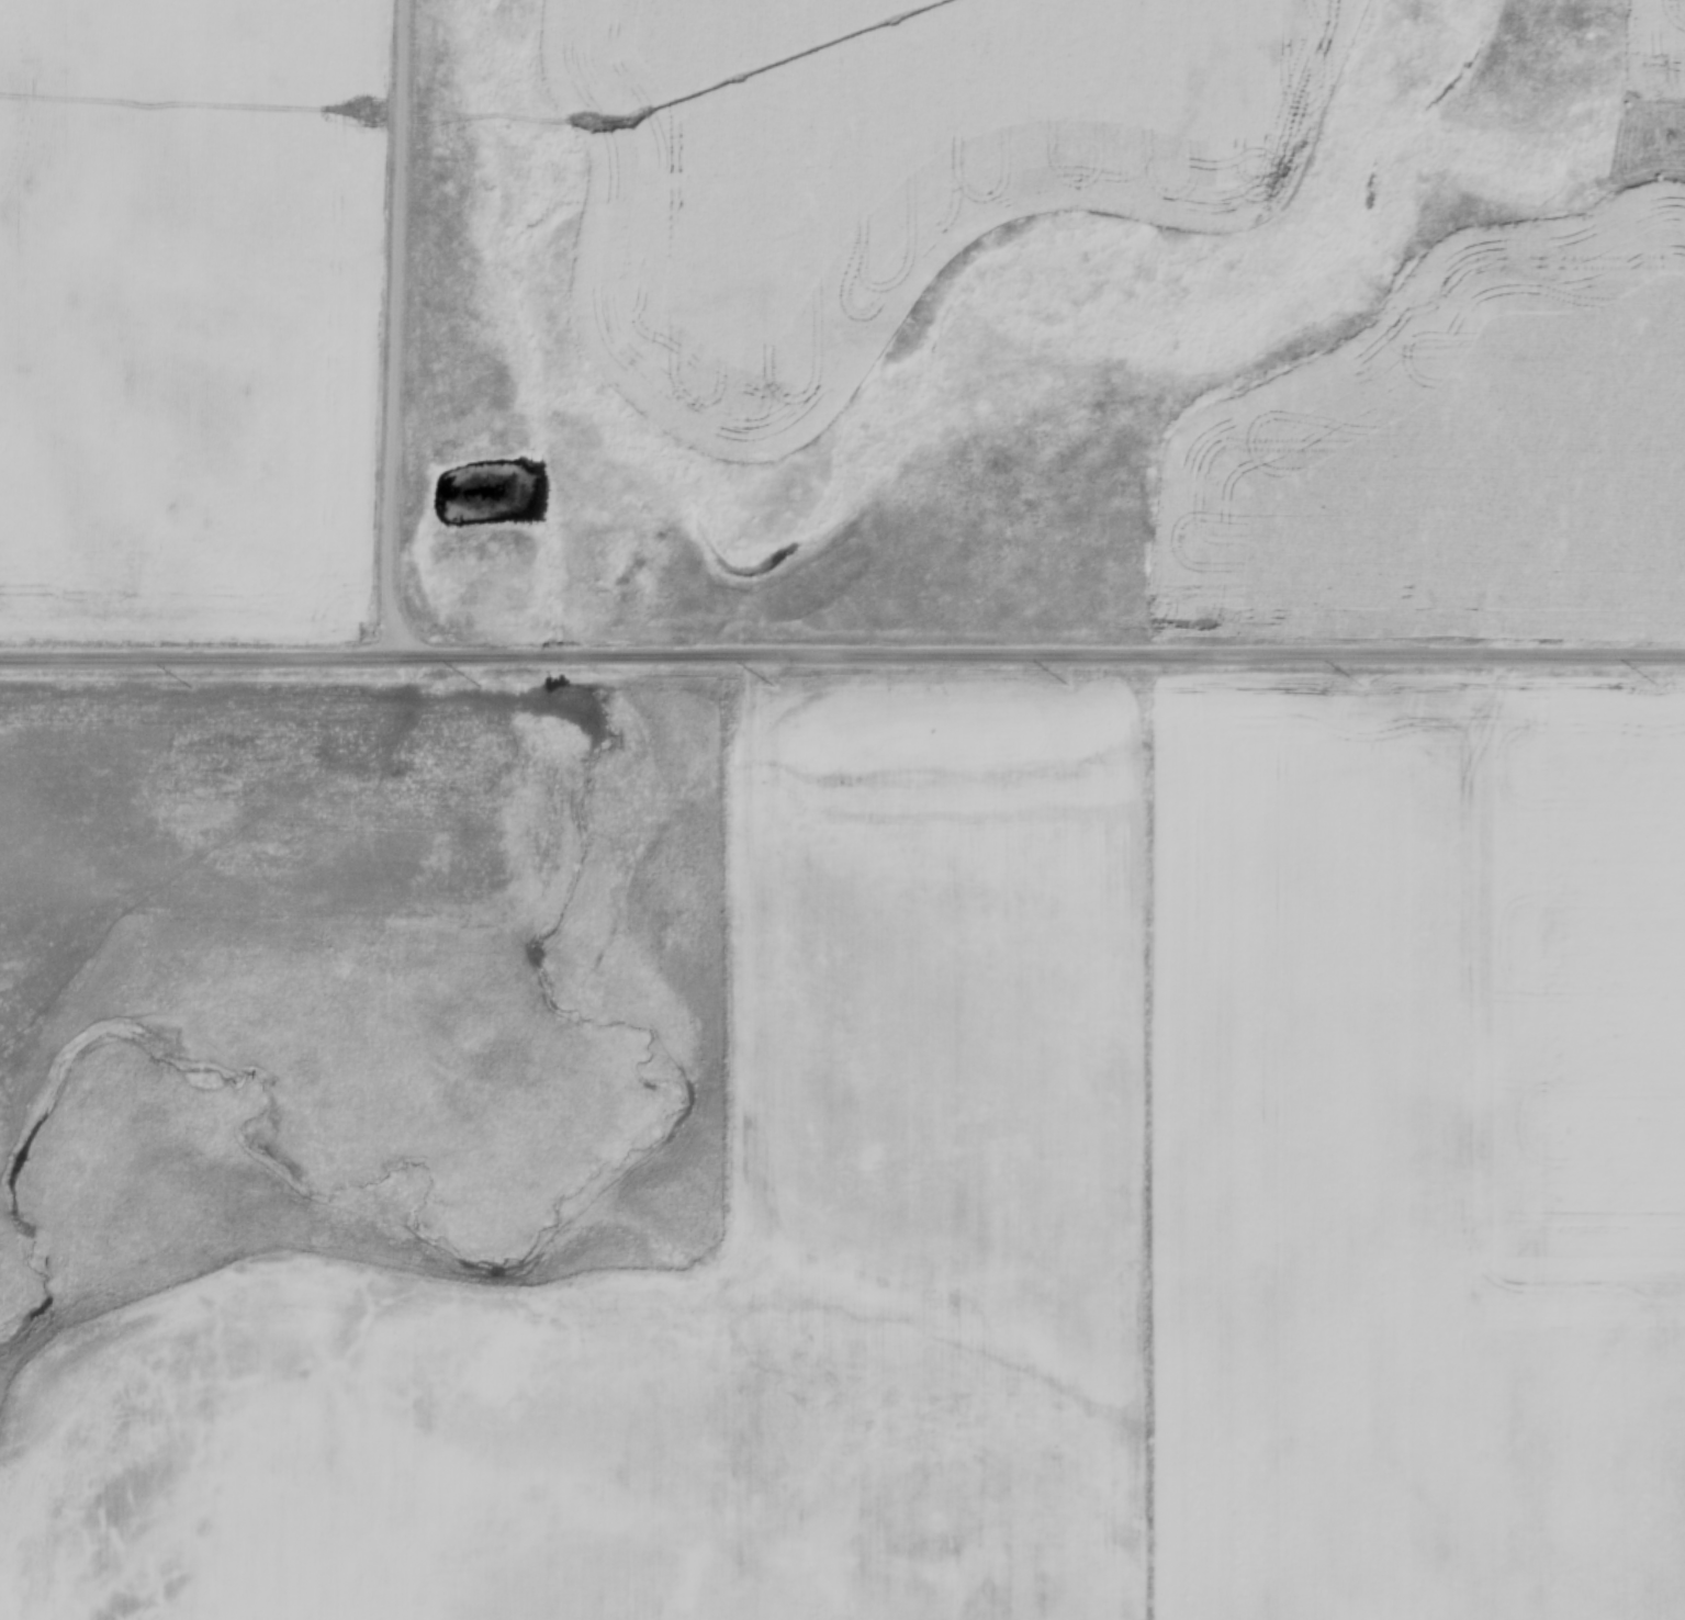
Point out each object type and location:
road: (400, 327)
road: (842, 654)

